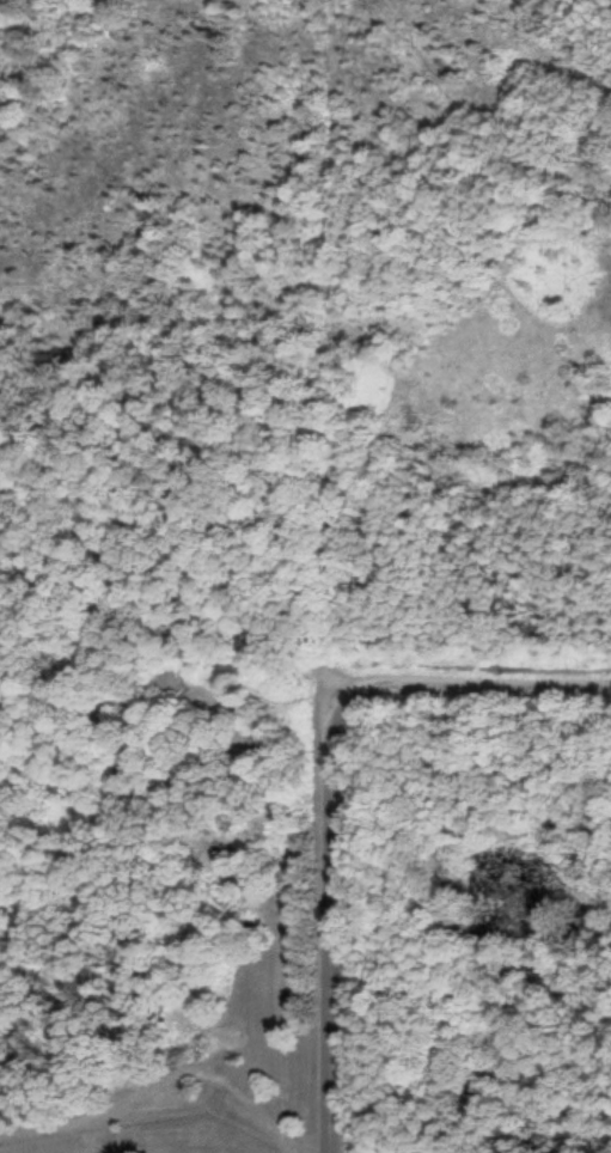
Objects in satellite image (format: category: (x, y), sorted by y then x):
road: (167, 536)
road: (472, 669)
road: (319, 913)

